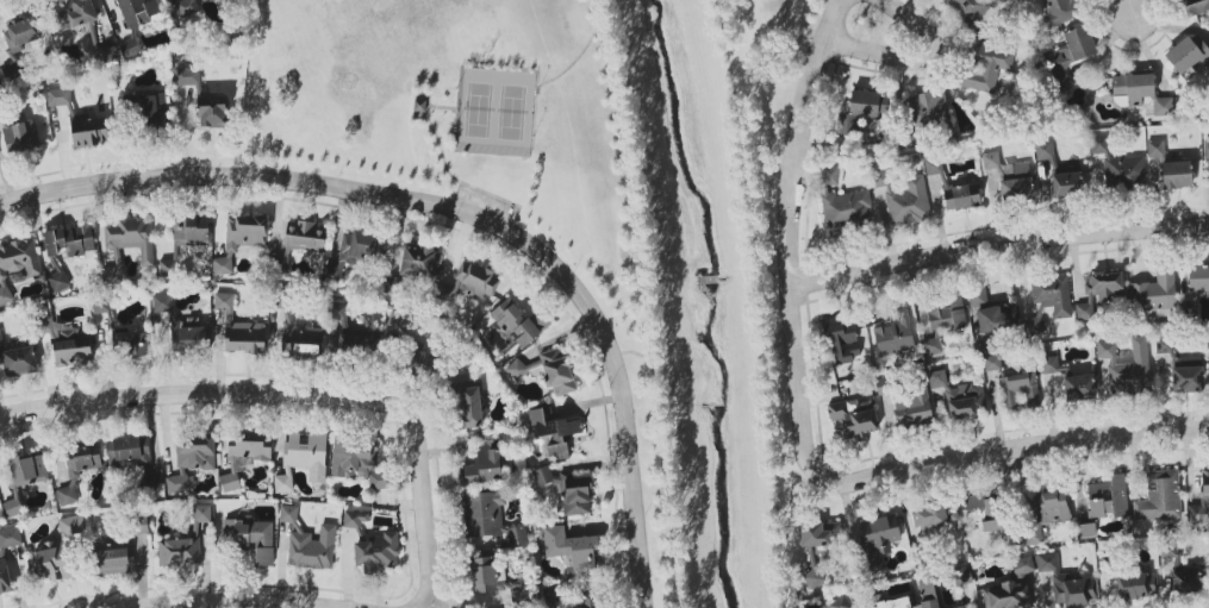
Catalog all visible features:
building: (1195, 6)
building: (186, 7)
building: (972, 7)
road: (1136, 8)
building: (138, 11)
building: (1059, 12)
building: (71, 15)
park: (760, 35)
building: (18, 43)
road: (723, 45)
building: (130, 48)
building: (106, 55)
building: (1067, 56)
road: (912, 57)
building: (1189, 57)
road: (571, 59)
building: (985, 67)
building: (186, 76)
building: (1141, 92)
building: (930, 106)
building: (860, 109)
building: (212, 111)
park: (493, 111)
building: (152, 112)
park: (462, 114)
road: (617, 118)
building: (80, 121)
road: (431, 131)
building: (18, 140)
building: (1205, 148)
building: (1155, 149)
building: (1046, 153)
building: (990, 159)
building: (933, 165)
building: (1117, 165)
building: (1176, 175)
building: (1015, 182)
building: (1066, 184)
building: (960, 195)
building: (903, 199)
building: (842, 202)
parking lot: (484, 203)
road: (792, 207)
road: (465, 211)
road: (487, 218)
building: (191, 231)
building: (304, 236)
building: (241, 239)
building: (69, 242)
building: (126, 244)
road: (999, 247)
building: (354, 252)
building: (419, 261)
building: (279, 263)
building: (17, 265)
building: (167, 268)
building: (1198, 277)
building: (57, 282)
building: (469, 282)
building: (1098, 293)
building: (1153, 294)
building: (977, 295)
building: (1049, 300)
building: (941, 314)
building: (996, 318)
road: (760, 320)
building: (518, 322)
building: (181, 327)
building: (239, 328)
building: (347, 330)
road: (779, 331)
building: (893, 331)
building: (299, 337)
building: (841, 341)
building: (67, 343)
building: (130, 345)
building: (931, 346)
road: (631, 351)
building: (17, 359)
building: (420, 362)
building: (1048, 364)
building: (1126, 366)
building: (548, 371)
building: (1186, 376)
building: (1014, 386)
building: (1078, 388)
road: (160, 396)
building: (967, 402)
building: (468, 406)
building: (911, 409)
building: (853, 420)
road: (654, 422)
building: (553, 431)
building: (249, 446)
building: (129, 452)
road: (983, 456)
building: (303, 458)
building: (191, 460)
building: (357, 460)
building: (484, 464)
road: (423, 466)
building: (29, 469)
building: (77, 469)
building: (542, 476)
building: (229, 482)
building: (575, 495)
building: (1159, 496)
building: (1108, 497)
building: (1201, 502)
building: (12, 507)
building: (986, 510)
road: (793, 513)
building: (1047, 513)
building: (934, 516)
building: (355, 519)
building: (488, 519)
building: (1086, 529)
building: (880, 532)
building: (822, 537)
building: (10, 538)
building: (250, 538)
building: (185, 541)
building: (309, 543)
building: (57, 551)
building: (378, 552)
building: (573, 553)
building: (112, 559)
building: (1021, 566)
building: (962, 575)
building: (1183, 575)
building: (5, 577)
road: (780, 579)
building: (494, 581)
building: (1066, 584)
building: (1136, 585)
building: (928, 594)
building: (1007, 594)
building: (588, 602)
road: (238, 603)
building: (839, 603)
building: (895, 603)
building: (960, 607)

